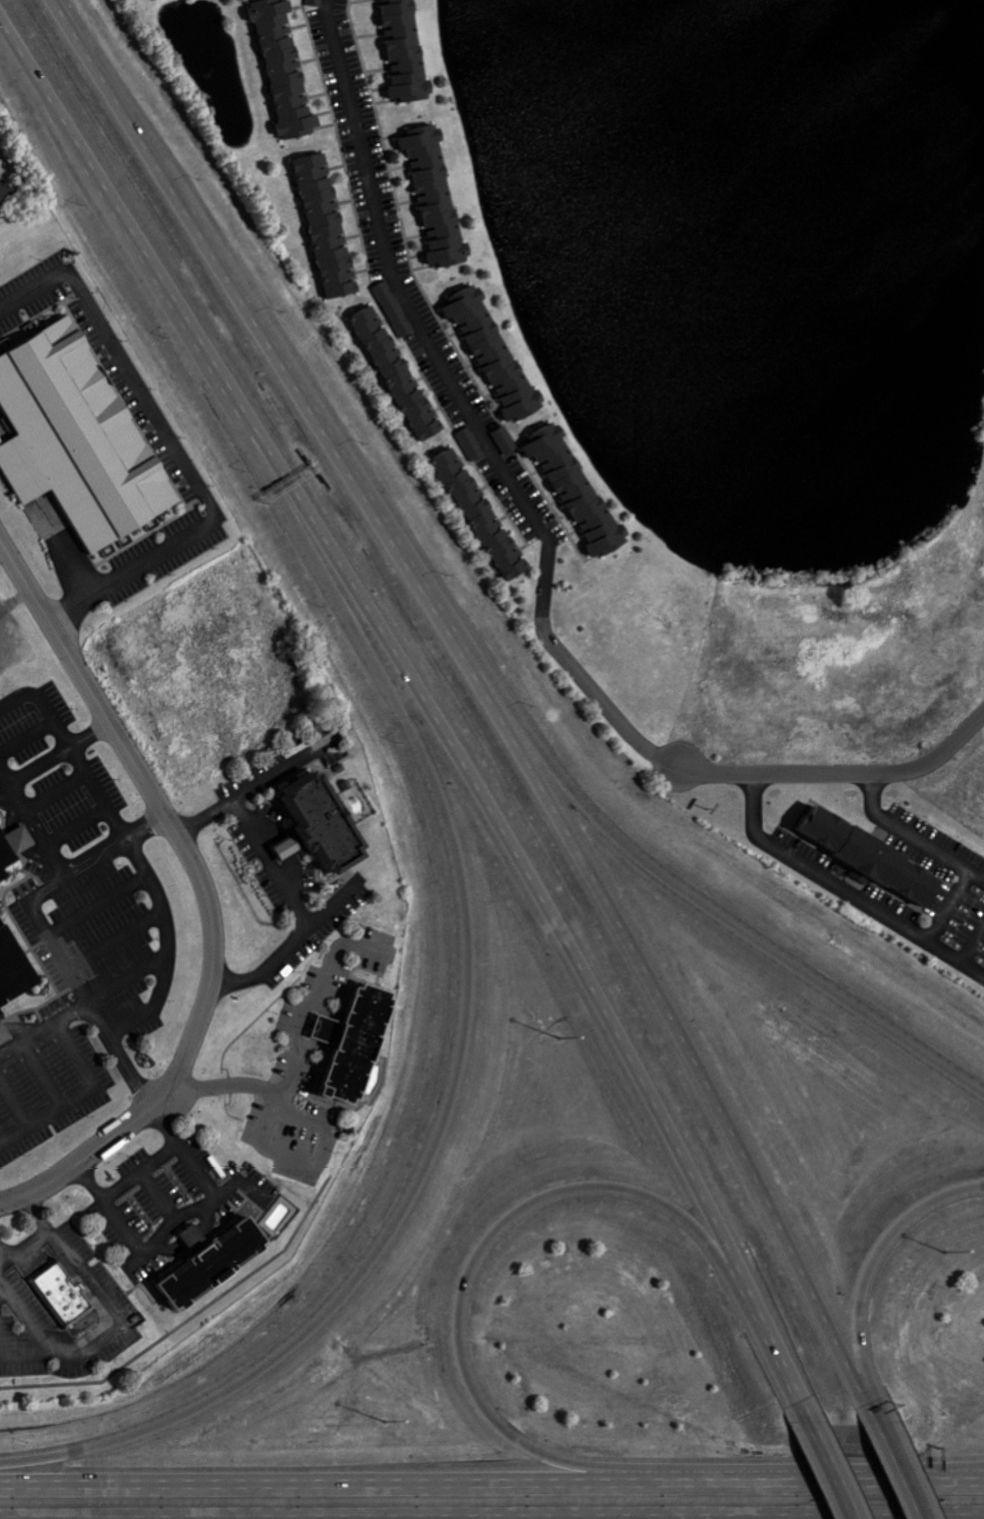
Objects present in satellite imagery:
building: (318, 3)
building: (408, 52)
building: (287, 68)
building: (6, 191)
building: (437, 195)
building: (329, 226)
building: (396, 309)
building: (495, 353)
building: (401, 373)
road: (468, 411)
building: (79, 437)
road: (172, 452)
building: (579, 491)
building: (485, 515)
road: (390, 639)
road: (483, 687)
road: (137, 768)
road: (284, 769)
road: (842, 771)
road: (20, 799)
building: (322, 827)
road: (913, 834)
building: (866, 855)
road: (148, 873)
road: (286, 886)
road: (844, 889)
road: (694, 898)
road: (335, 902)
road: (952, 907)
road: (50, 936)
road: (975, 948)
road: (44, 1028)
road: (465, 1035)
road: (298, 1043)
building: (359, 1045)
road: (79, 1095)
road: (123, 1129)
road: (309, 1161)
road: (141, 1170)
road: (242, 1182)
road: (179, 1218)
road: (42, 1234)
road: (478, 1253)
building: (207, 1260)
road: (873, 1261)
building: (59, 1293)
road: (119, 1328)
road: (778, 1354)
road: (875, 1410)
road: (833, 1471)
road: (901, 1471)
road: (980, 1476)
road: (980, 1478)
road: (803, 1479)
road: (315, 1483)

